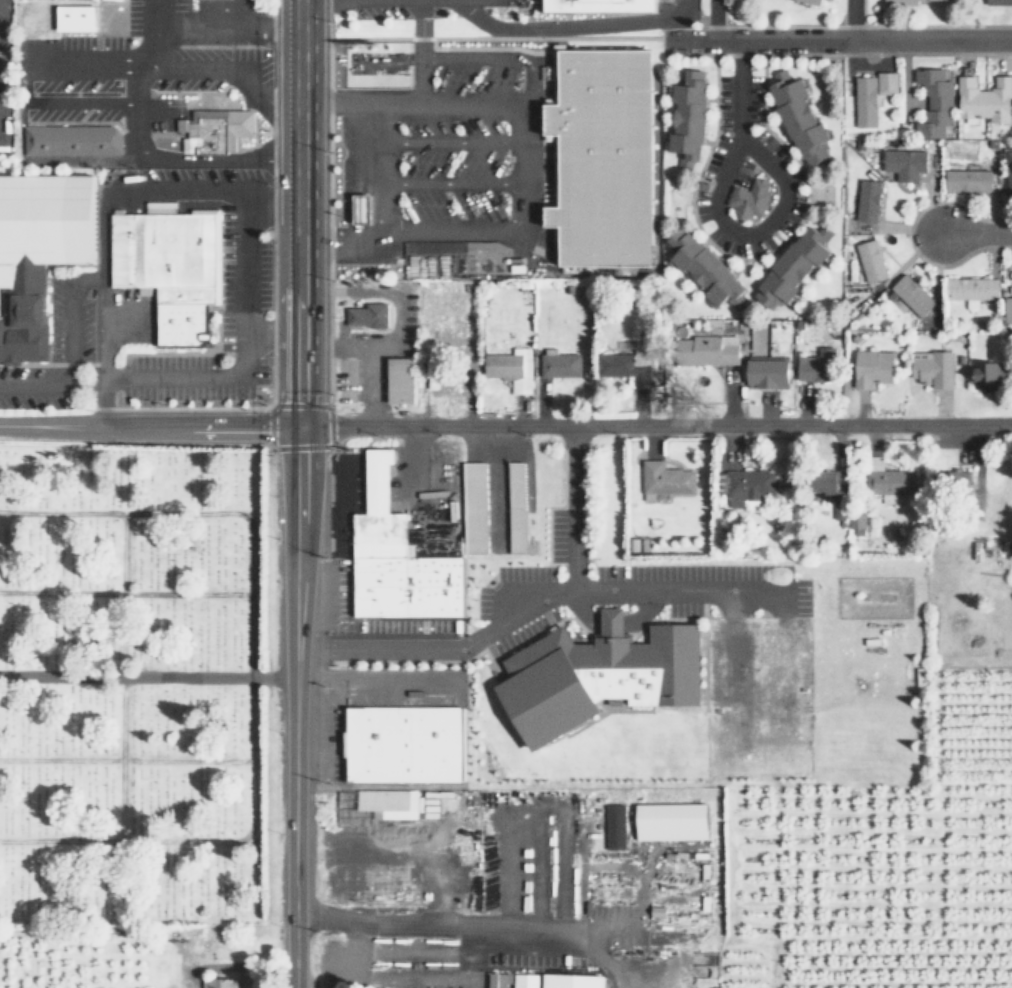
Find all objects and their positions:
building: (120, 0)
building: (998, 2)
building: (807, 3)
building: (899, 3)
road: (541, 4)
road: (235, 5)
building: (601, 5)
road: (195, 11)
road: (525, 11)
road: (724, 13)
road: (862, 13)
building: (76, 18)
road: (713, 19)
road: (852, 19)
road: (568, 27)
road: (855, 27)
road: (154, 30)
road: (497, 38)
road: (838, 39)
road: (489, 47)
road: (546, 48)
road: (836, 53)
road: (83, 59)
road: (417, 86)
building: (870, 98)
building: (984, 101)
building: (930, 103)
road: (412, 110)
building: (796, 114)
building: (685, 117)
road: (88, 121)
building: (213, 131)
building: (69, 140)
road: (455, 146)
building: (607, 156)
building: (904, 164)
building: (1008, 170)
road: (385, 174)
building: (965, 180)
road: (525, 181)
road: (455, 190)
park: (821, 193)
building: (747, 198)
building: (867, 202)
building: (361, 209)
gas station: (361, 209)
road: (716, 210)
road: (272, 214)
road: (329, 214)
road: (299, 215)
road: (975, 231)
road: (906, 233)
building: (38, 249)
road: (754, 260)
building: (868, 260)
building: (792, 267)
building: (702, 268)
building: (169, 270)
building: (970, 287)
building: (911, 294)
building: (1007, 308)
building: (367, 315)
gas station: (367, 315)
road: (72, 332)
road: (245, 343)
building: (707, 349)
road: (190, 352)
building: (620, 356)
road: (107, 363)
road: (54, 364)
building: (558, 365)
building: (871, 366)
building: (929, 367)
building: (509, 368)
building: (814, 368)
building: (769, 372)
building: (987, 373)
building: (398, 379)
road: (300, 405)
road: (183, 407)
road: (655, 427)
road: (149, 428)
traffic signals: (299, 430)
building: (663, 479)
building: (887, 481)
building: (952, 482)
building: (749, 485)
building: (827, 488)
building: (513, 507)
building: (472, 508)
building: (857, 519)
building: (395, 557)
road: (125, 591)
road: (510, 618)
road: (731, 653)
building: (603, 673)
road: (146, 674)
road: (249, 676)
road: (120, 677)
park: (131, 680)
road: (293, 708)
building: (402, 744)
road: (125, 759)
building: (375, 807)
building: (668, 821)
building: (613, 826)
road: (430, 924)
building: (499, 979)
building: (526, 980)
building: (574, 980)
building: (220, 983)

